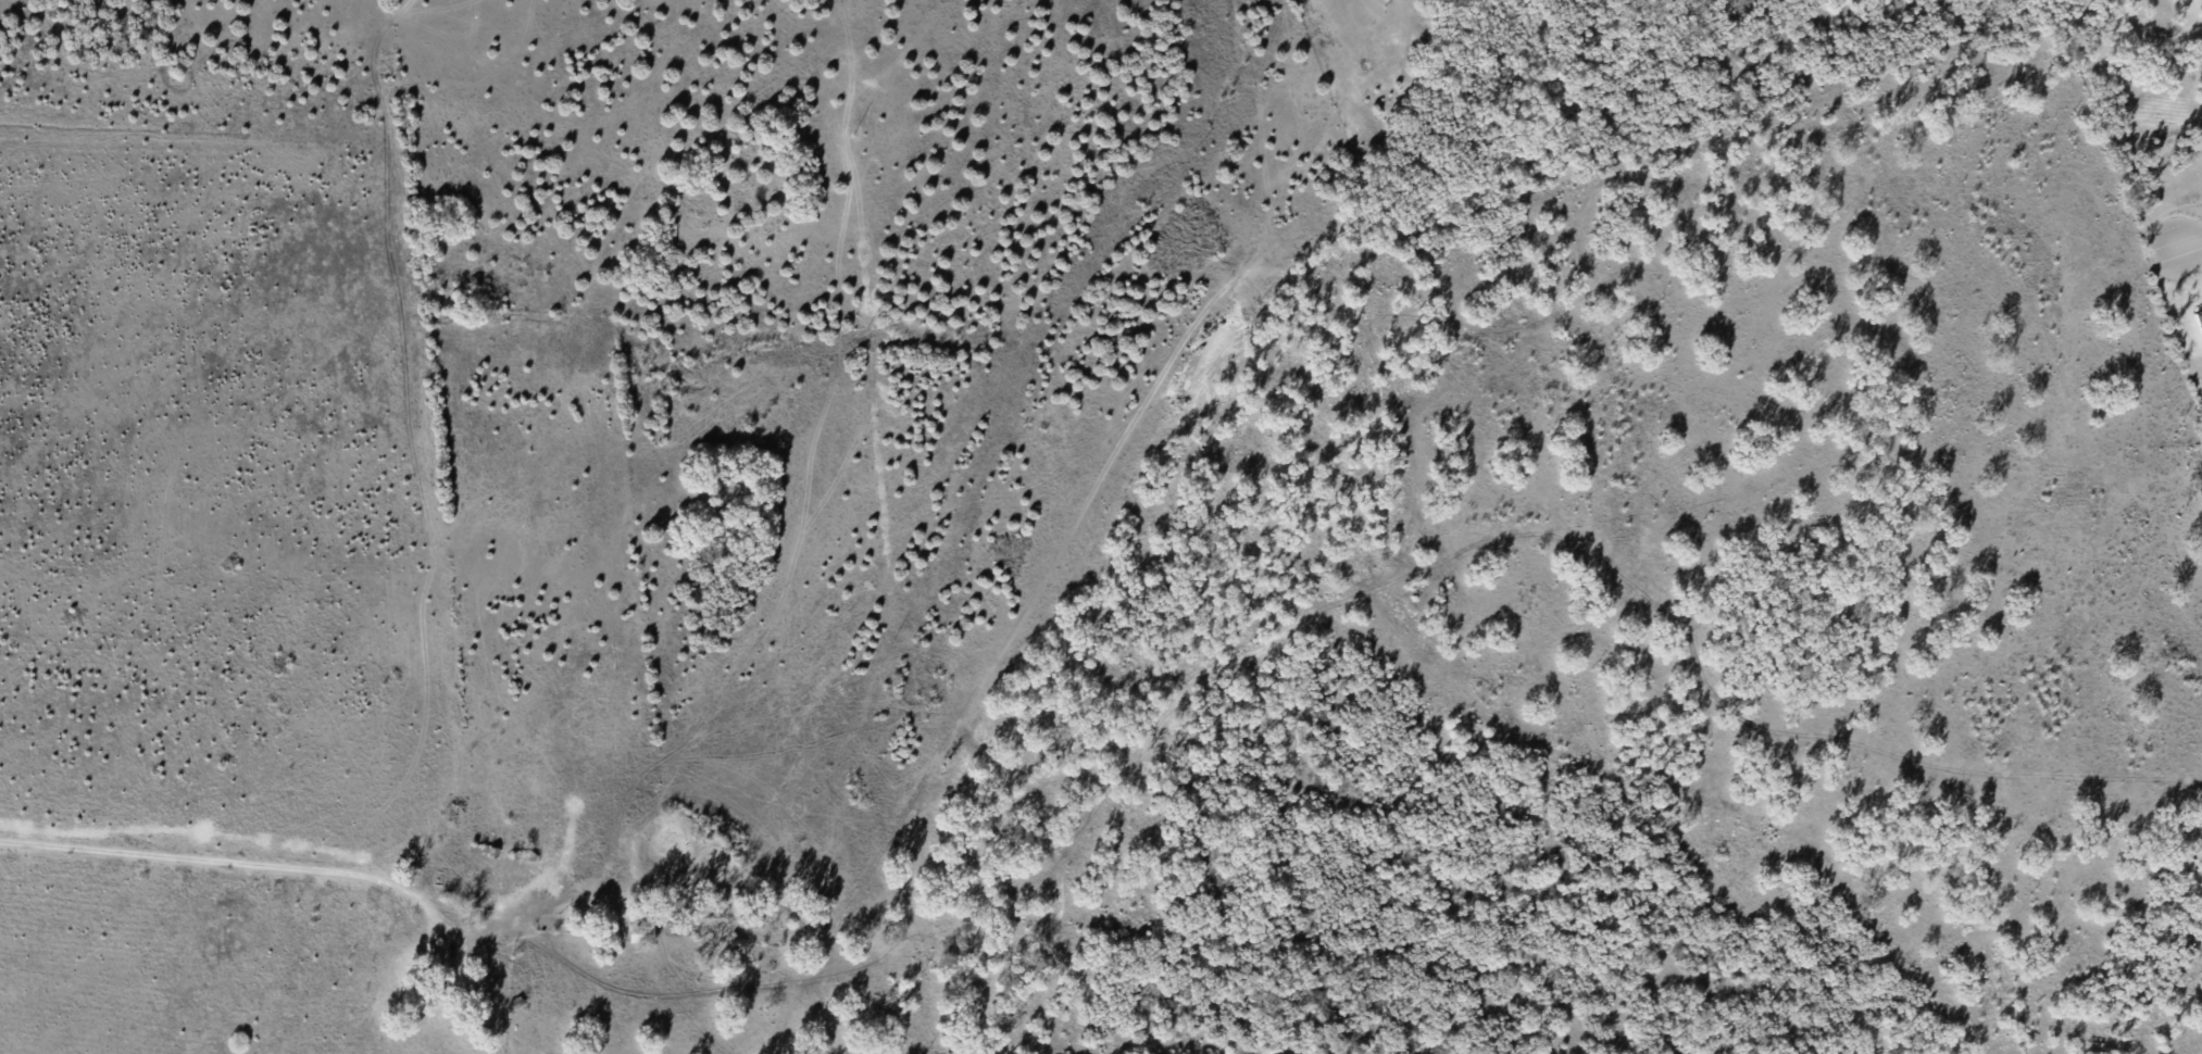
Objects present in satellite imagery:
road: (2192, 237)
building: (2199, 318)
road: (227, 861)

